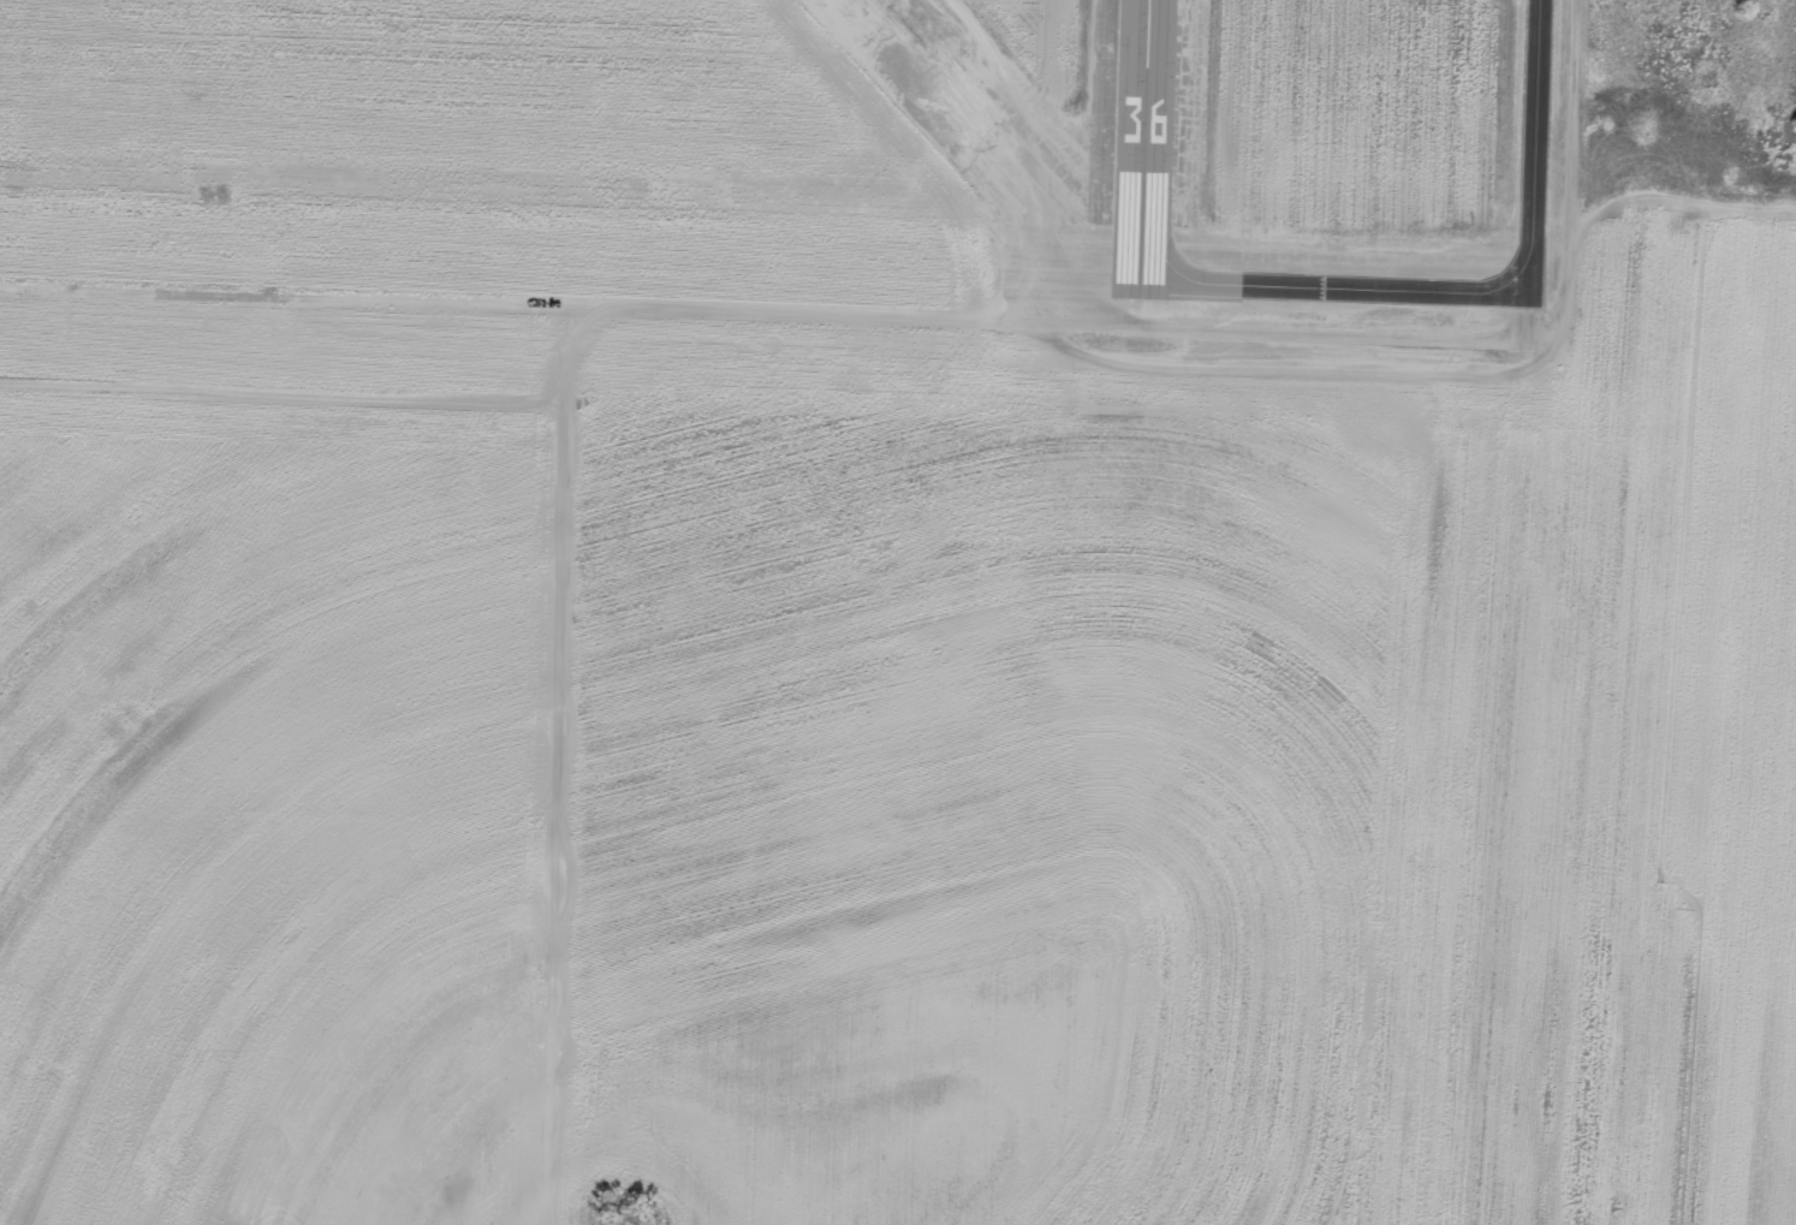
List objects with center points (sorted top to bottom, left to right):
airport runway: (1147, 151)
airport taxiway: (1538, 161)
airport: (918, 201)
airport taxiway: (1338, 313)

